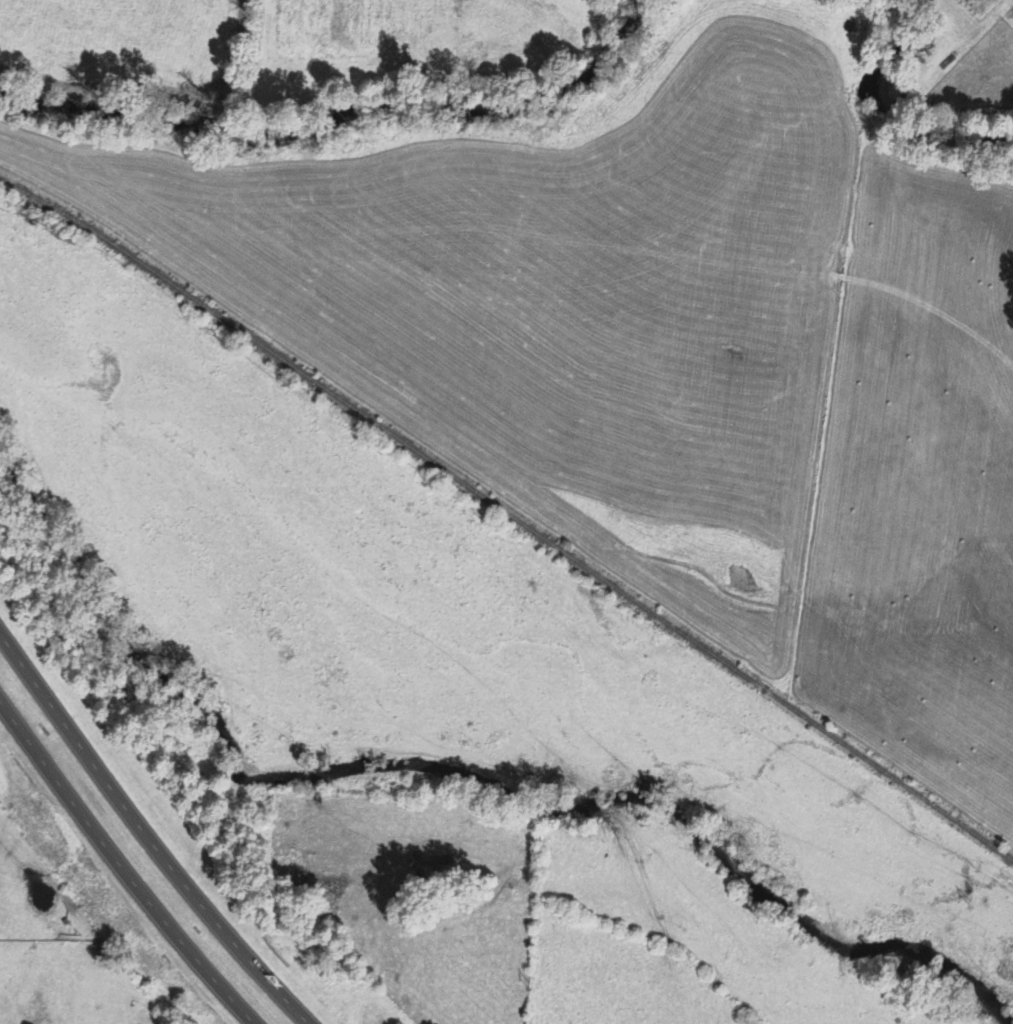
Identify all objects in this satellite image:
river: (326, 111)
river: (893, 119)
railway: (509, 513)
road: (146, 835)
road: (121, 867)

